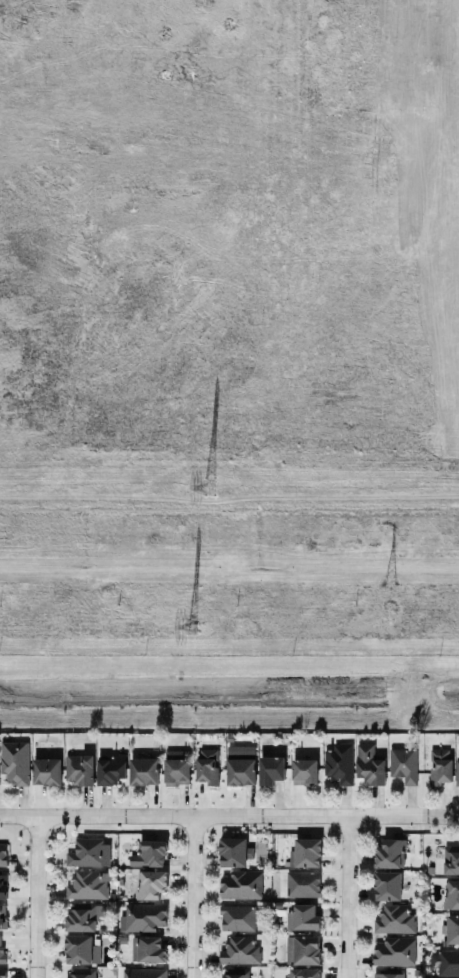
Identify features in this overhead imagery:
road: (418, 133)
building: (265, 143)
road: (409, 319)
road: (179, 322)
road: (423, 355)
road: (211, 357)
road: (54, 360)
road: (211, 393)
road: (229, 437)
power tower: (211, 487)
power tower: (393, 586)
power tower: (192, 630)
building: (14, 763)
building: (339, 764)
building: (240, 765)
building: (369, 765)
building: (403, 765)
building: (207, 766)
building: (440, 766)
building: (176, 768)
building: (79, 769)
building: (270, 769)
building: (110, 770)
building: (46, 771)
building: (143, 771)
building: (304, 772)
building: (457, 772)
road: (229, 816)
building: (235, 852)
building: (89, 853)
building: (307, 853)
building: (149, 854)
building: (390, 854)
building: (3, 855)
building: (451, 860)
building: (150, 884)
building: (303, 884)
building: (2, 885)
building: (241, 885)
building: (88, 886)
building: (387, 886)
building: (451, 894)
road: (349, 896)
road: (37, 897)
road: (194, 897)
building: (2, 917)
building: (83, 917)
building: (143, 918)
building: (237, 918)
building: (302, 918)
building: (394, 921)
building: (452, 929)
building: (1, 950)
building: (82, 950)
building: (148, 950)
building: (302, 950)
building: (240, 951)
building: (394, 952)
building: (449, 963)
building: (2, 973)
building: (80, 973)
building: (143, 973)
building: (234, 973)
building: (304, 973)
building: (388, 975)

